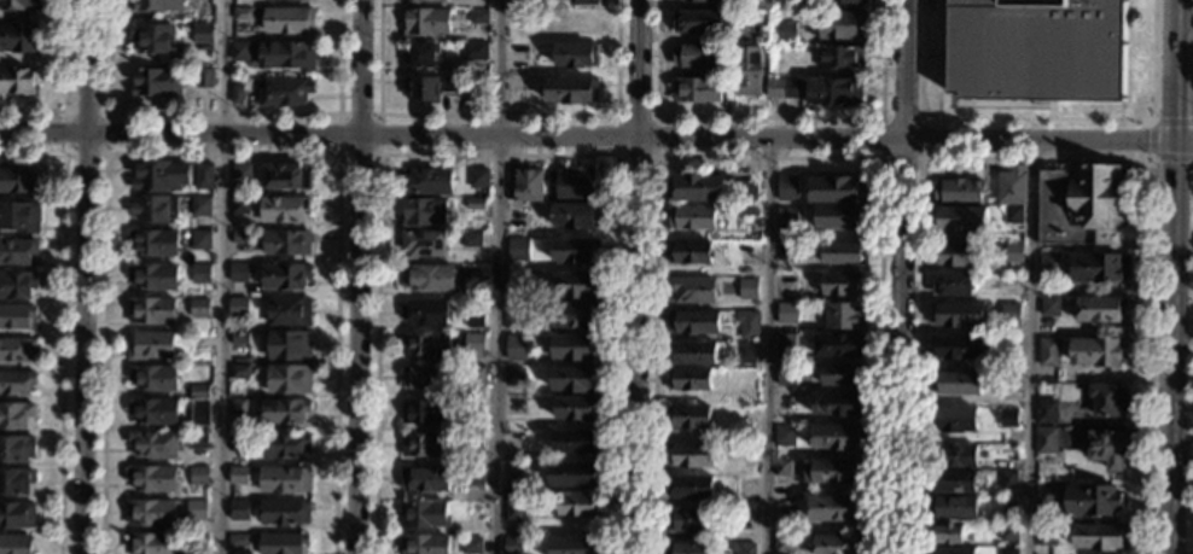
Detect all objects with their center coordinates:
building: (293, 0)
building: (700, 0)
building: (423, 1)
building: (844, 1)
building: (583, 2)
building: (21, 5)
building: (760, 5)
building: (157, 6)
building: (243, 13)
road: (1174, 14)
building: (478, 17)
building: (289, 21)
building: (426, 22)
building: (699, 23)
building: (839, 25)
building: (786, 30)
building: (202, 34)
building: (757, 35)
building: (18, 39)
building: (153, 39)
building: (1036, 49)
building: (240, 51)
building: (473, 52)
building: (286, 56)
building: (577, 56)
building: (421, 57)
building: (699, 57)
building: (838, 57)
building: (749, 71)
building: (203, 77)
building: (18, 82)
building: (156, 82)
road: (1174, 84)
road: (64, 87)
building: (432, 88)
building: (784, 88)
building: (570, 91)
building: (696, 91)
building: (729, 92)
building: (286, 93)
building: (516, 93)
building: (834, 93)
building: (237, 95)
road: (105, 112)
road: (222, 113)
road: (497, 115)
traffic signals: (1174, 115)
road: (616, 116)
road: (769, 117)
road: (920, 118)
road: (1037, 118)
road: (587, 135)
traffic signals: (1146, 138)
road: (1151, 139)
road: (1183, 139)
road: (221, 153)
road: (338, 153)
road: (495, 156)
road: (768, 157)
road: (1037, 157)
building: (821, 165)
building: (240, 173)
building: (158, 176)
building: (203, 176)
building: (286, 176)
building: (478, 179)
building: (17, 181)
building: (427, 182)
building: (528, 183)
building: (571, 186)
building: (1012, 186)
building: (696, 188)
building: (746, 191)
building: (836, 191)
building: (786, 192)
building: (959, 192)
building: (475, 204)
building: (239, 205)
building: (1081, 205)
building: (200, 206)
building: (153, 209)
building: (284, 209)
building: (749, 210)
building: (424, 212)
building: (574, 215)
building: (786, 215)
building: (1013, 215)
building: (21, 216)
building: (691, 217)
building: (840, 217)
building: (959, 220)
building: (240, 238)
building: (471, 239)
building: (200, 240)
building: (153, 243)
building: (286, 243)
building: (421, 244)
building: (517, 250)
building: (576, 251)
building: (788, 251)
building: (17, 252)
building: (688, 253)
building: (844, 253)
building: (1013, 253)
building: (959, 255)
building: (1051, 263)
building: (1100, 268)
building: (238, 273)
building: (199, 274)
road: (85, 276)
road: (221, 276)
building: (285, 276)
road: (357, 276)
road: (496, 276)
road: (636, 276)
road: (902, 276)
building: (153, 278)
building: (427, 279)
building: (843, 284)
building: (17, 285)
building: (575, 285)
building: (953, 285)
building: (747, 288)
building: (692, 290)
building: (1049, 307)
building: (199, 308)
building: (238, 308)
building: (1099, 309)
building: (151, 310)
building: (290, 311)
building: (425, 313)
building: (786, 314)
building: (1009, 314)
building: (576, 315)
building: (960, 315)
building: (16, 316)
building: (844, 316)
building: (513, 317)
road: (62, 321)
building: (692, 322)
building: (747, 325)
building: (479, 330)
building: (239, 338)
building: (426, 344)
building: (473, 344)
road: (763, 344)
building: (151, 345)
building: (290, 345)
building: (839, 345)
road: (1031, 345)
road: (1171, 345)
building: (516, 346)
building: (785, 346)
building: (1008, 346)
building: (576, 348)
building: (959, 348)
building: (16, 349)
building: (1049, 352)
building: (1098, 352)
building: (692, 354)
building: (745, 354)
building: (239, 373)
building: (475, 375)
building: (786, 375)
building: (843, 375)
building: (512, 377)
building: (153, 378)
building: (426, 378)
building: (289, 379)
building: (575, 379)
building: (689, 379)
building: (16, 383)
building: (1008, 383)
building: (956, 384)
building: (198, 391)
building: (1105, 400)
building: (839, 404)
building: (472, 408)
building: (576, 408)
building: (238, 409)
building: (153, 412)
building: (198, 412)
building: (283, 412)
building: (425, 412)
building: (1046, 412)
building: (14, 416)
building: (688, 418)
building: (747, 419)
building: (1009, 419)
building: (954, 420)
building: (784, 437)
building: (837, 437)
building: (1046, 441)
building: (196, 442)
building: (472, 442)
building: (577, 442)
building: (238, 443)
building: (153, 444)
building: (284, 444)
building: (425, 445)
building: (16, 448)
building: (1107, 448)
building: (691, 456)
building: (954, 456)
building: (999, 466)
building: (784, 468)
building: (834, 472)
building: (575, 474)
building: (198, 476)
building: (238, 476)
building: (472, 476)
building: (152, 479)
building: (424, 479)
building: (283, 480)
building: (1008, 480)
building: (16, 482)
building: (953, 483)
building: (691, 488)
building: (1047, 494)
building: (1092, 500)
building: (578, 505)
building: (784, 506)
building: (514, 508)
building: (953, 508)
building: (238, 509)
building: (834, 509)
building: (196, 511)
building: (473, 511)
building: (151, 513)
building: (284, 513)
building: (424, 514)
building: (16, 515)
building: (743, 520)
building: (689, 521)
building: (1008, 532)
building: (948, 533)
building: (1047, 536)
building: (1100, 537)
building: (237, 540)
building: (197, 541)
building: (281, 542)
building: (151, 543)
building: (782, 543)
building: (16, 544)
building: (424, 544)
building: (839, 544)
building: (471, 546)
building: (512, 546)
building: (571, 546)
building: (688, 548)
building: (743, 548)
building: (954, 550)
building: (1008, 550)

